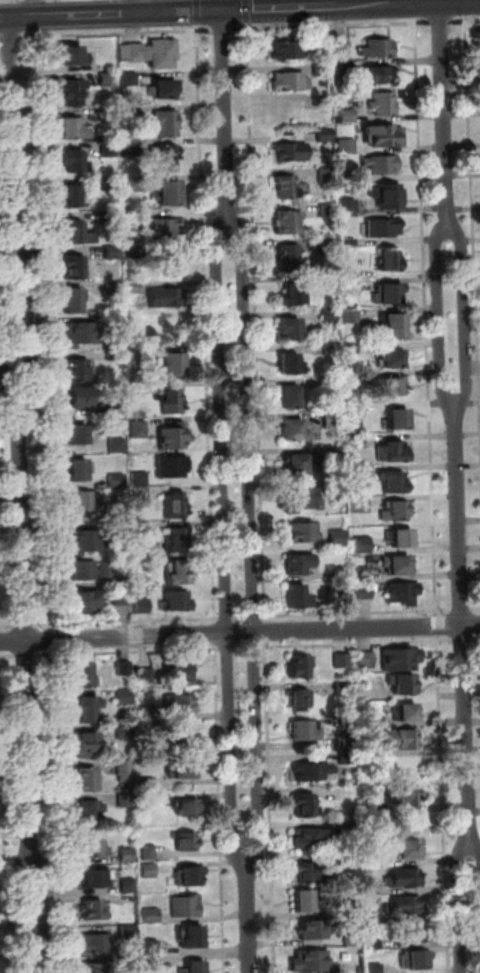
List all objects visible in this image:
road: (404, 2)
road: (434, 2)
road: (161, 6)
road: (321, 7)
road: (37, 8)
road: (465, 8)
traffic signals: (223, 11)
traffic signals: (162, 13)
road: (80, 15)
road: (441, 21)
road: (465, 21)
road: (331, 26)
road: (223, 29)
road: (117, 33)
road: (10, 37)
building: (379, 48)
building: (299, 49)
building: (343, 51)
building: (151, 52)
building: (72, 54)
building: (344, 69)
building: (321, 70)
building: (378, 74)
building: (129, 78)
building: (107, 80)
building: (290, 81)
building: (163, 88)
building: (337, 89)
building: (72, 92)
building: (383, 104)
building: (131, 112)
building: (108, 115)
road: (225, 116)
building: (348, 117)
road: (445, 119)
building: (166, 123)
building: (73, 128)
road: (13, 133)
building: (324, 135)
building: (385, 135)
building: (346, 147)
building: (108, 149)
building: (130, 149)
building: (291, 151)
building: (168, 155)
building: (75, 161)
building: (381, 164)
building: (326, 175)
building: (348, 177)
building: (109, 183)
building: (133, 184)
building: (287, 187)
building: (168, 193)
building: (71, 195)
building: (386, 195)
building: (347, 207)
building: (326, 211)
building: (132, 216)
building: (111, 217)
building: (287, 223)
building: (382, 227)
road: (473, 228)
building: (161, 229)
building: (78, 233)
building: (348, 243)
building: (328, 246)
building: (131, 250)
building: (111, 252)
building: (290, 258)
building: (389, 259)
building: (170, 263)
building: (74, 267)
building: (349, 273)
building: (327, 281)
building: (133, 287)
building: (113, 289)
building: (387, 293)
building: (292, 295)
building: (164, 297)
building: (74, 299)
building: (329, 314)
road: (439, 315)
building: (350, 316)
road: (464, 316)
road: (425, 320)
building: (116, 323)
road: (256, 325)
building: (393, 326)
road: (206, 327)
building: (289, 327)
road: (6, 330)
road: (28, 330)
road: (43, 333)
building: (80, 333)
building: (330, 349)
building: (351, 349)
building: (115, 356)
building: (389, 358)
building: (138, 360)
building: (291, 363)
building: (174, 365)
building: (77, 370)
road: (232, 375)
building: (332, 383)
building: (354, 383)
building: (389, 386)
building: (139, 388)
building: (80, 395)
building: (290, 396)
building: (172, 400)
building: (115, 408)
building: (356, 410)
building: (331, 419)
building: (396, 420)
building: (356, 423)
building: (137, 430)
building: (294, 430)
building: (78, 434)
building: (173, 437)
building: (356, 441)
building: (116, 445)
building: (391, 451)
building: (336, 454)
building: (296, 461)
building: (171, 466)
building: (80, 469)
building: (358, 472)
building: (138, 478)
building: (115, 480)
building: (393, 482)
building: (336, 488)
building: (140, 494)
building: (298, 498)
building: (84, 500)
building: (175, 505)
building: (360, 505)
building: (395, 511)
building: (112, 514)
building: (119, 530)
building: (140, 530)
building: (304, 532)
building: (400, 537)
building: (336, 538)
building: (176, 539)
building: (86, 541)
road: (251, 541)
road: (224, 543)
building: (362, 545)
building: (297, 563)
building: (396, 564)
building: (141, 565)
building: (105, 569)
building: (82, 570)
building: (178, 572)
building: (362, 575)
building: (363, 592)
building: (403, 592)
building: (296, 596)
building: (120, 597)
building: (85, 601)
building: (176, 601)
building: (142, 605)
road: (475, 609)
road: (462, 610)
road: (356, 613)
road: (253, 617)
road: (240, 618)
road: (226, 619)
road: (127, 622)
road: (463, 624)
road: (436, 625)
road: (8, 626)
road: (25, 626)
road: (0, 630)
road: (266, 632)
road: (239, 633)
road: (215, 634)
road: (25, 637)
road: (476, 639)
road: (50, 640)
road: (463, 640)
road: (0, 642)
road: (357, 643)
road: (240, 645)
road: (253, 645)
road: (227, 647)
road: (127, 652)
road: (24, 655)
road: (8, 656)
building: (399, 659)
building: (365, 660)
building: (341, 661)
building: (298, 666)
building: (124, 668)
building: (180, 671)
building: (83, 673)
building: (144, 675)
building: (402, 683)
building: (342, 688)
building: (366, 693)
building: (123, 697)
building: (299, 698)
building: (178, 704)
building: (88, 709)
building: (404, 711)
building: (144, 714)
building: (367, 723)
building: (302, 731)
building: (124, 732)
building: (184, 738)
building: (402, 739)
building: (344, 742)
building: (87, 743)
building: (367, 749)
building: (345, 757)
building: (181, 768)
building: (124, 770)
building: (311, 771)
building: (86, 779)
building: (146, 785)
building: (399, 795)
building: (125, 800)
building: (147, 801)
road: (442, 804)
building: (303, 805)
building: (188, 807)
road: (269, 807)
road: (220, 808)
road: (53, 811)
road: (4, 812)
building: (89, 814)
building: (310, 838)
building: (186, 841)
building: (91, 848)
building: (409, 848)
building: (148, 852)
road: (475, 854)
building: (127, 855)
building: (149, 871)
building: (308, 872)
building: (188, 876)
building: (403, 877)
building: (94, 878)
building: (128, 886)
building: (303, 901)
building: (405, 904)
building: (186, 907)
building: (92, 910)
road: (463, 910)
road: (18, 914)
road: (44, 915)
building: (151, 916)
road: (249, 918)
building: (312, 929)
building: (128, 932)
building: (415, 932)
building: (194, 936)
building: (97, 943)
building: (152, 947)
building: (414, 959)
building: (311, 960)
building: (129, 963)
building: (152, 963)
building: (196, 967)
building: (93, 968)

